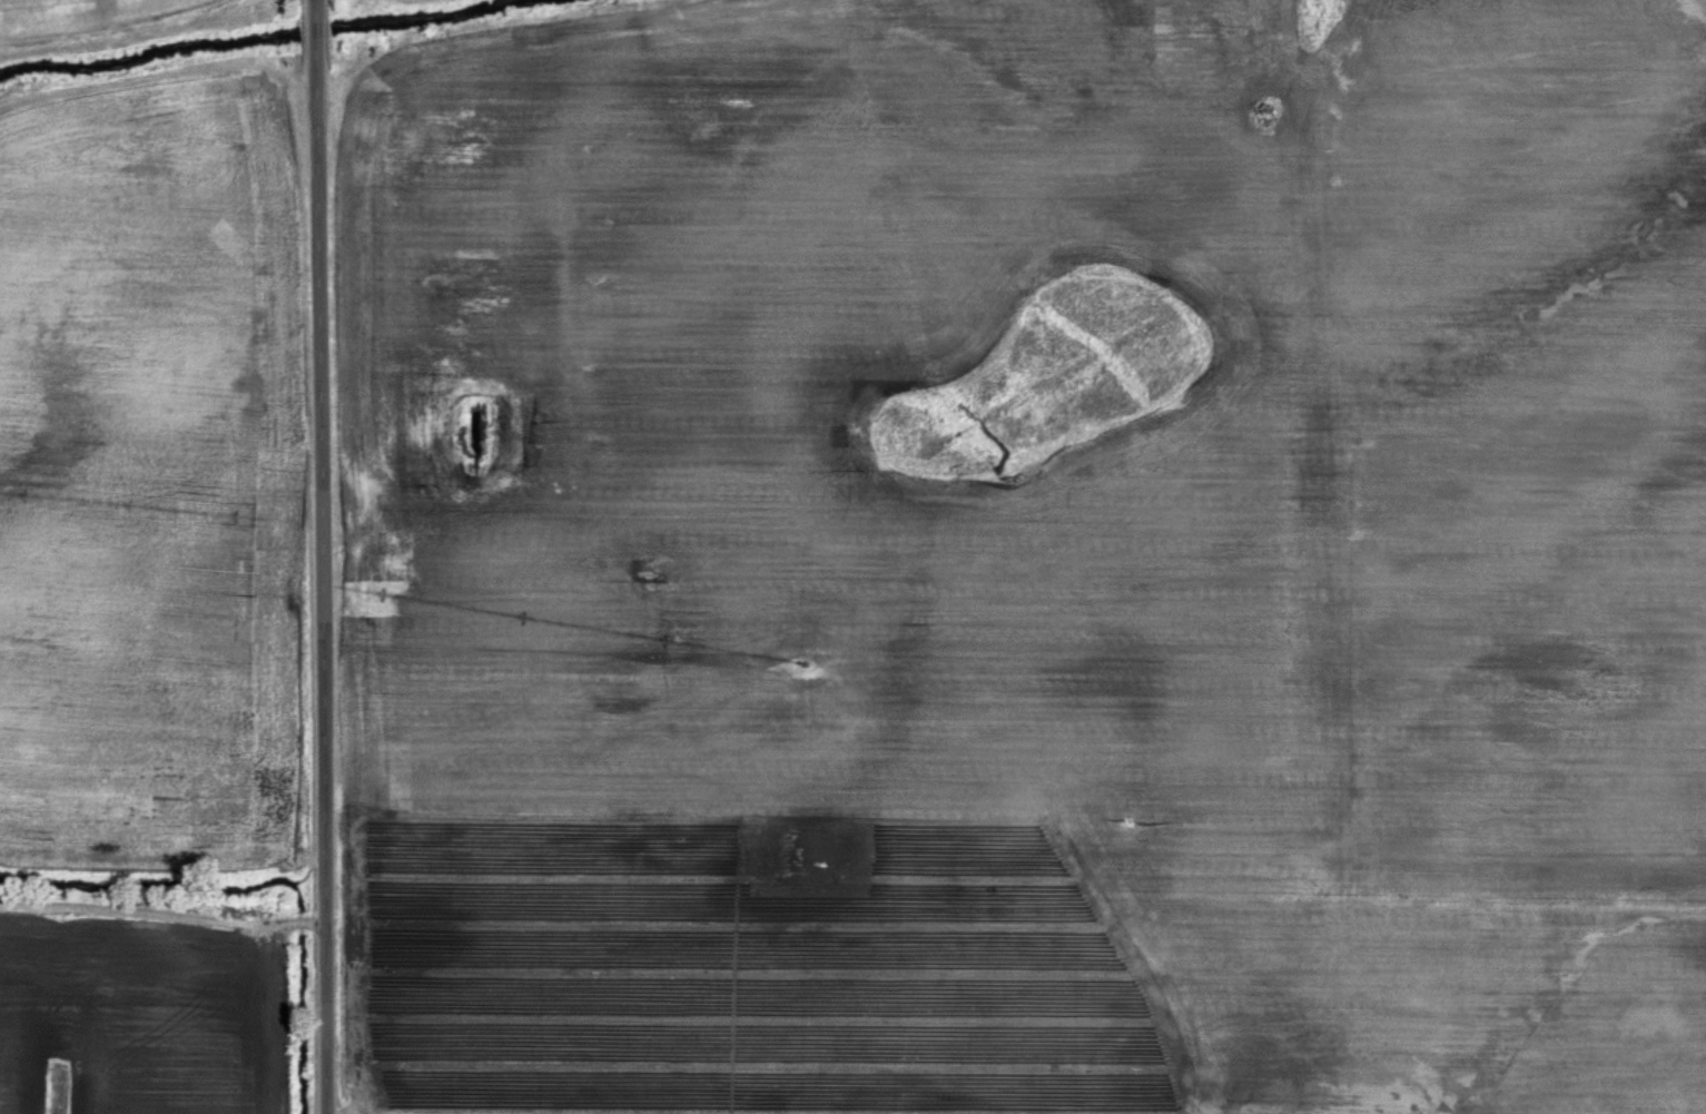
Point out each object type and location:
road: (321, 556)

